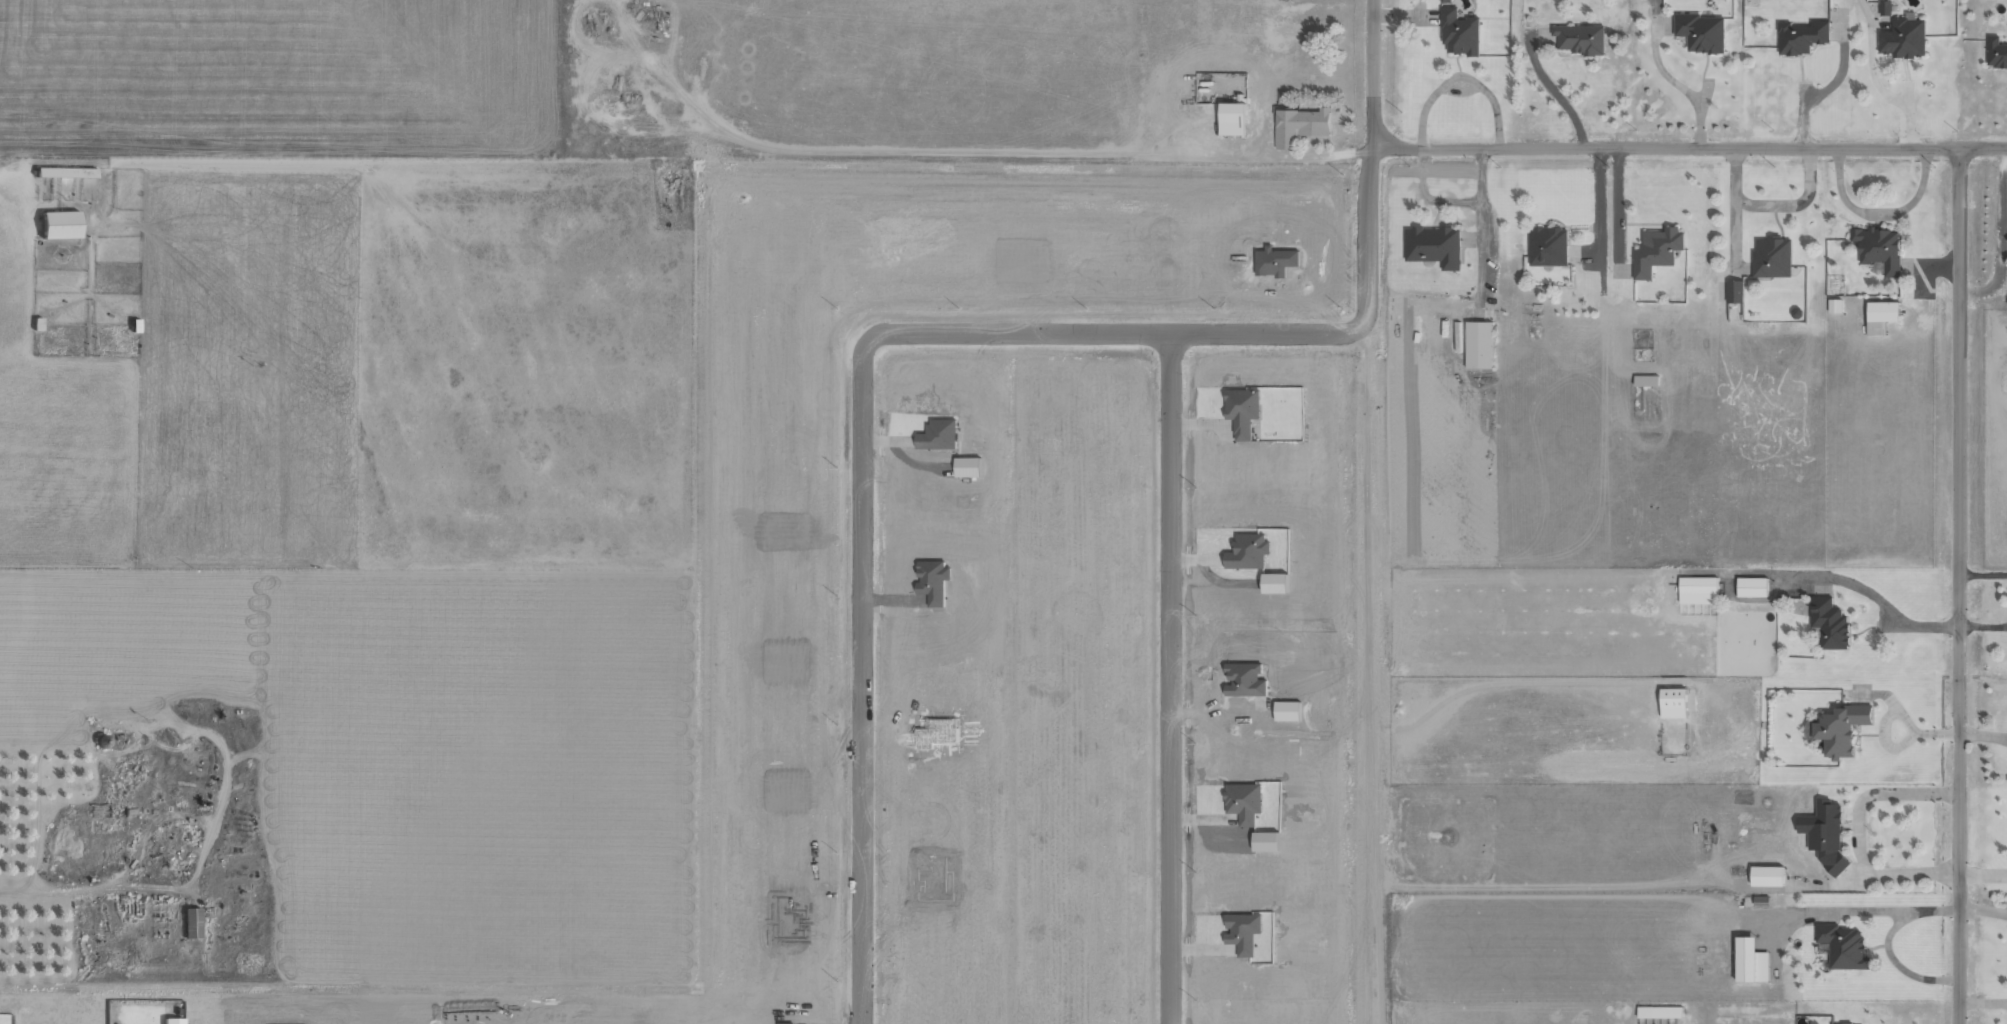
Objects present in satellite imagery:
building: (1444, 1)
building: (1885, 7)
building: (1459, 32)
building: (1700, 32)
building: (1801, 36)
building: (1903, 37)
building: (1581, 38)
building: (1998, 54)
road: (1370, 83)
building: (1231, 118)
building: (1299, 125)
road: (1698, 148)
building: (57, 225)
building: (1434, 246)
building: (1547, 246)
building: (1878, 248)
building: (1655, 250)
building: (1771, 257)
building: (1735, 291)
building: (1834, 305)
building: (1880, 316)
building: (1478, 344)
building: (1645, 380)
road: (1169, 494)
road: (862, 530)
building: (1697, 584)
road: (1956, 586)
building: (1751, 587)
building: (1829, 623)
building: (1672, 703)
building: (1840, 728)
building: (1824, 834)
building: (1766, 876)
building: (191, 923)
building: (1842, 947)
building: (1750, 961)
building: (1659, 1012)
building: (171, 1021)
building: (1839, 1023)

